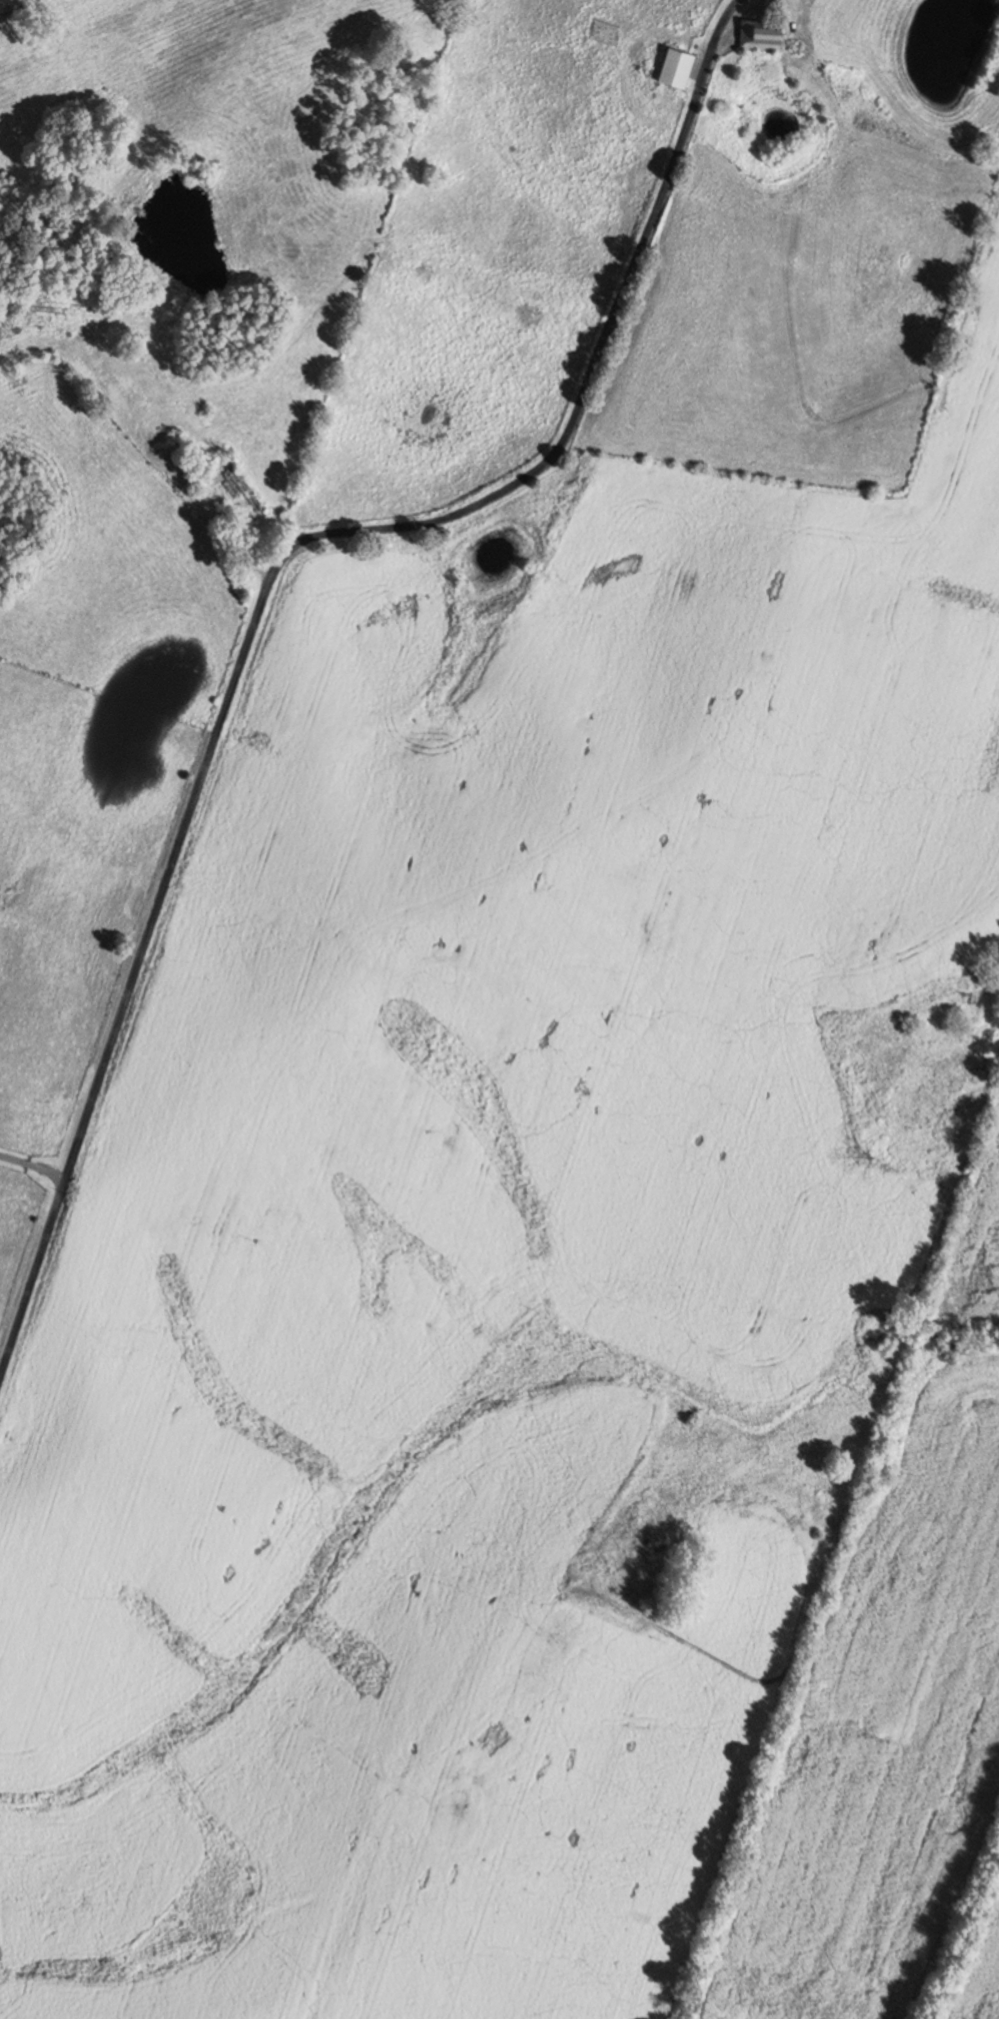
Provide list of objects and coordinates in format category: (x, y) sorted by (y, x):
park: (604, 31)
road: (266, 598)
road: (89, 822)
road: (861, 1466)

